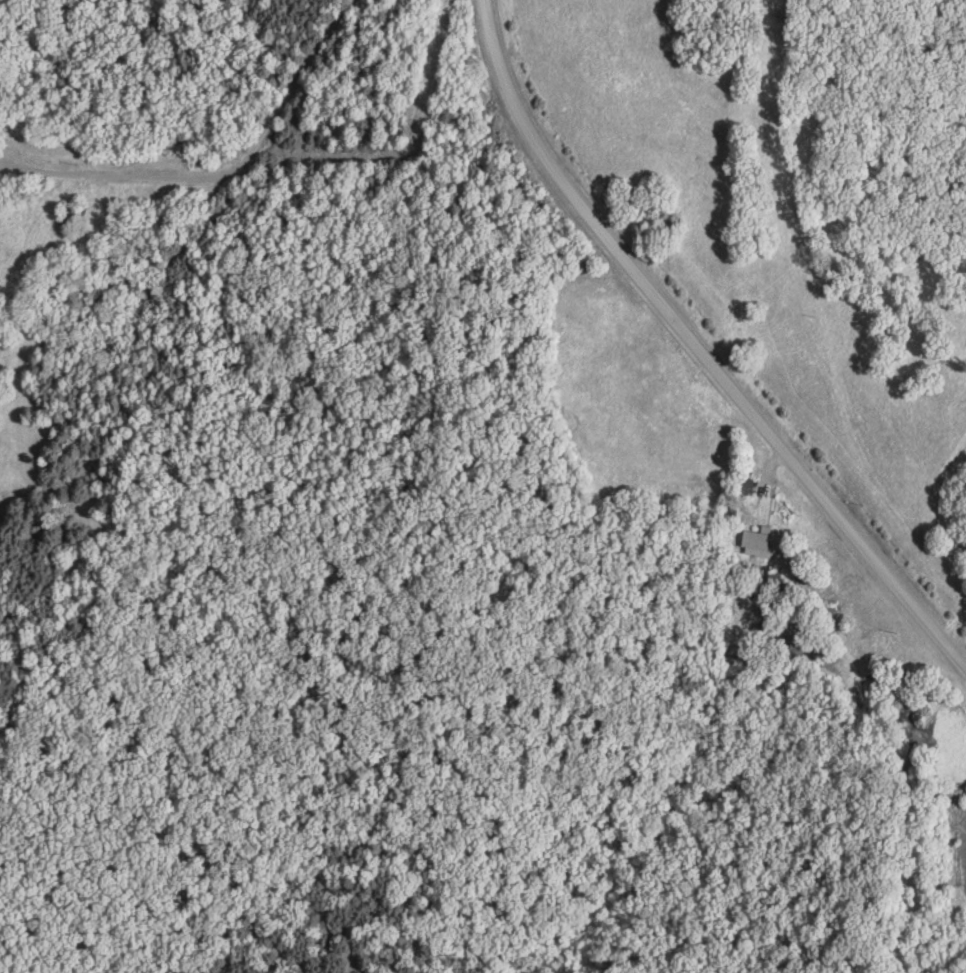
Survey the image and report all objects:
road: (221, 176)
road: (698, 347)
building: (756, 541)

